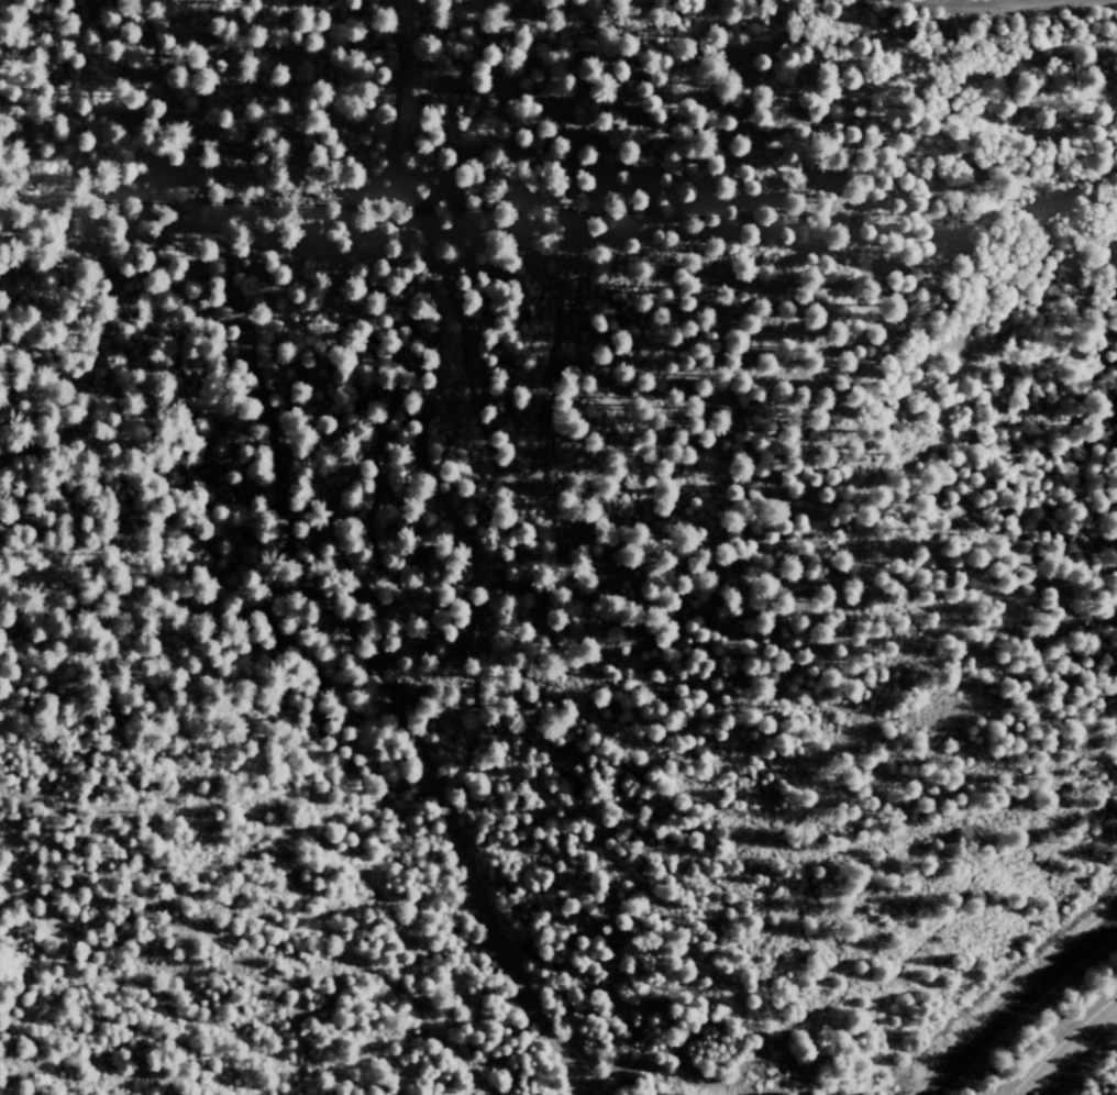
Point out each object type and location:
road: (930, 1)
road: (944, 1)
road: (296, 565)
road: (1016, 999)
road: (1066, 1049)

